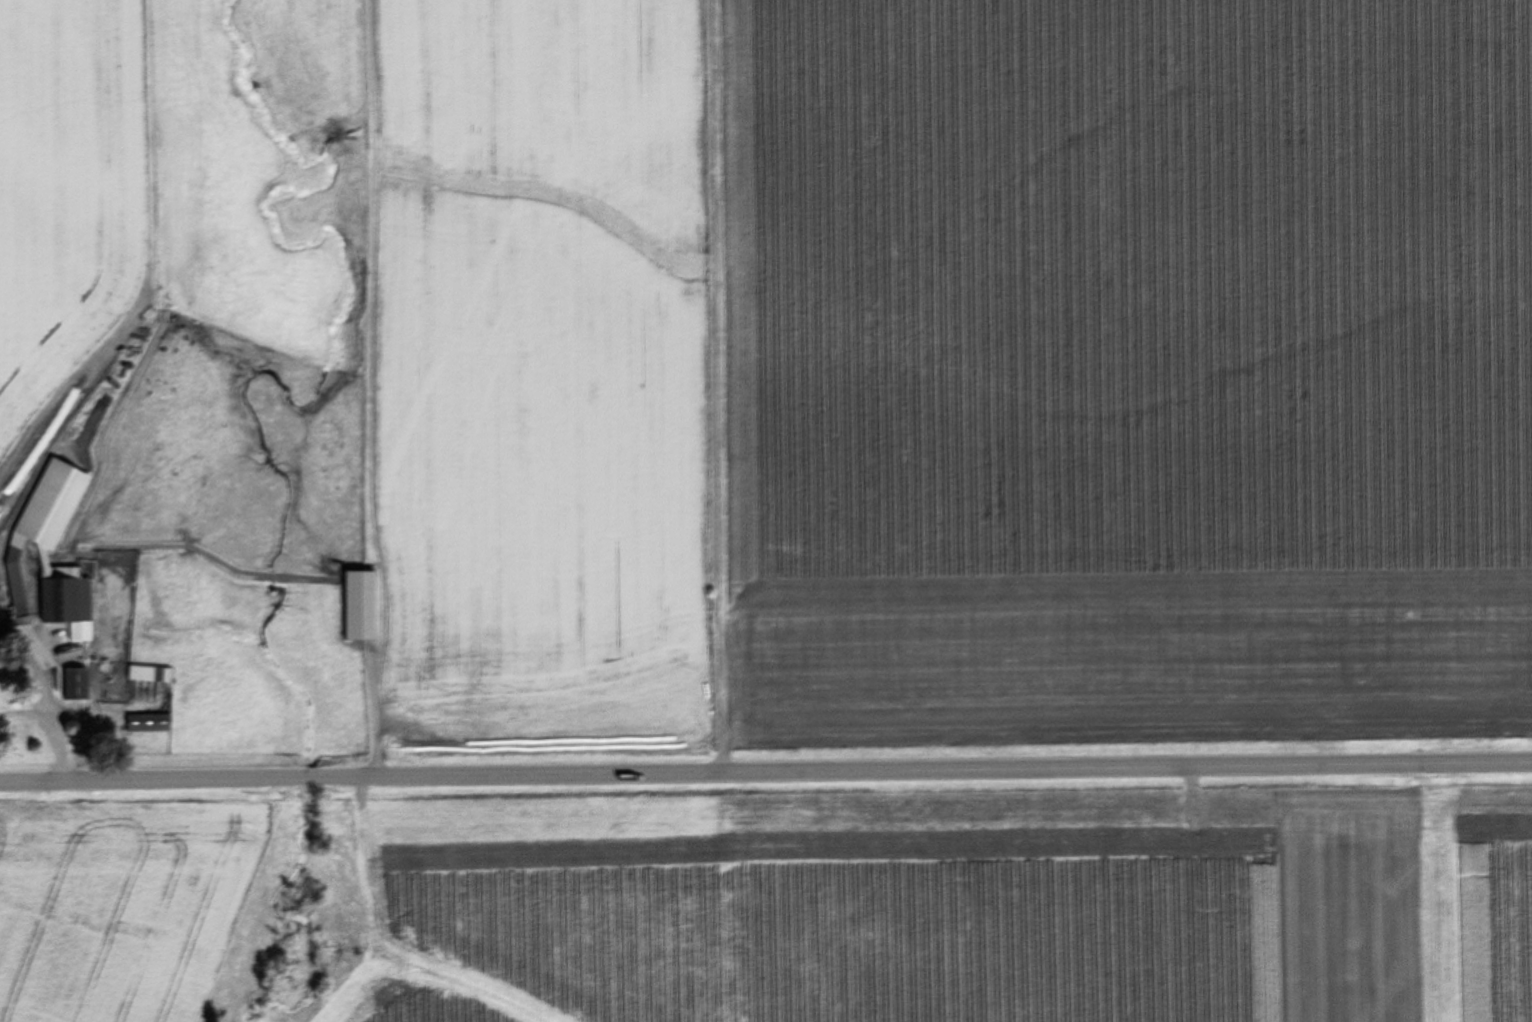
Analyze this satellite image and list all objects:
building: (17, 591)
building: (66, 599)
building: (359, 605)
building: (150, 674)
building: (76, 685)
building: (148, 723)
road: (53, 725)
road: (766, 772)

